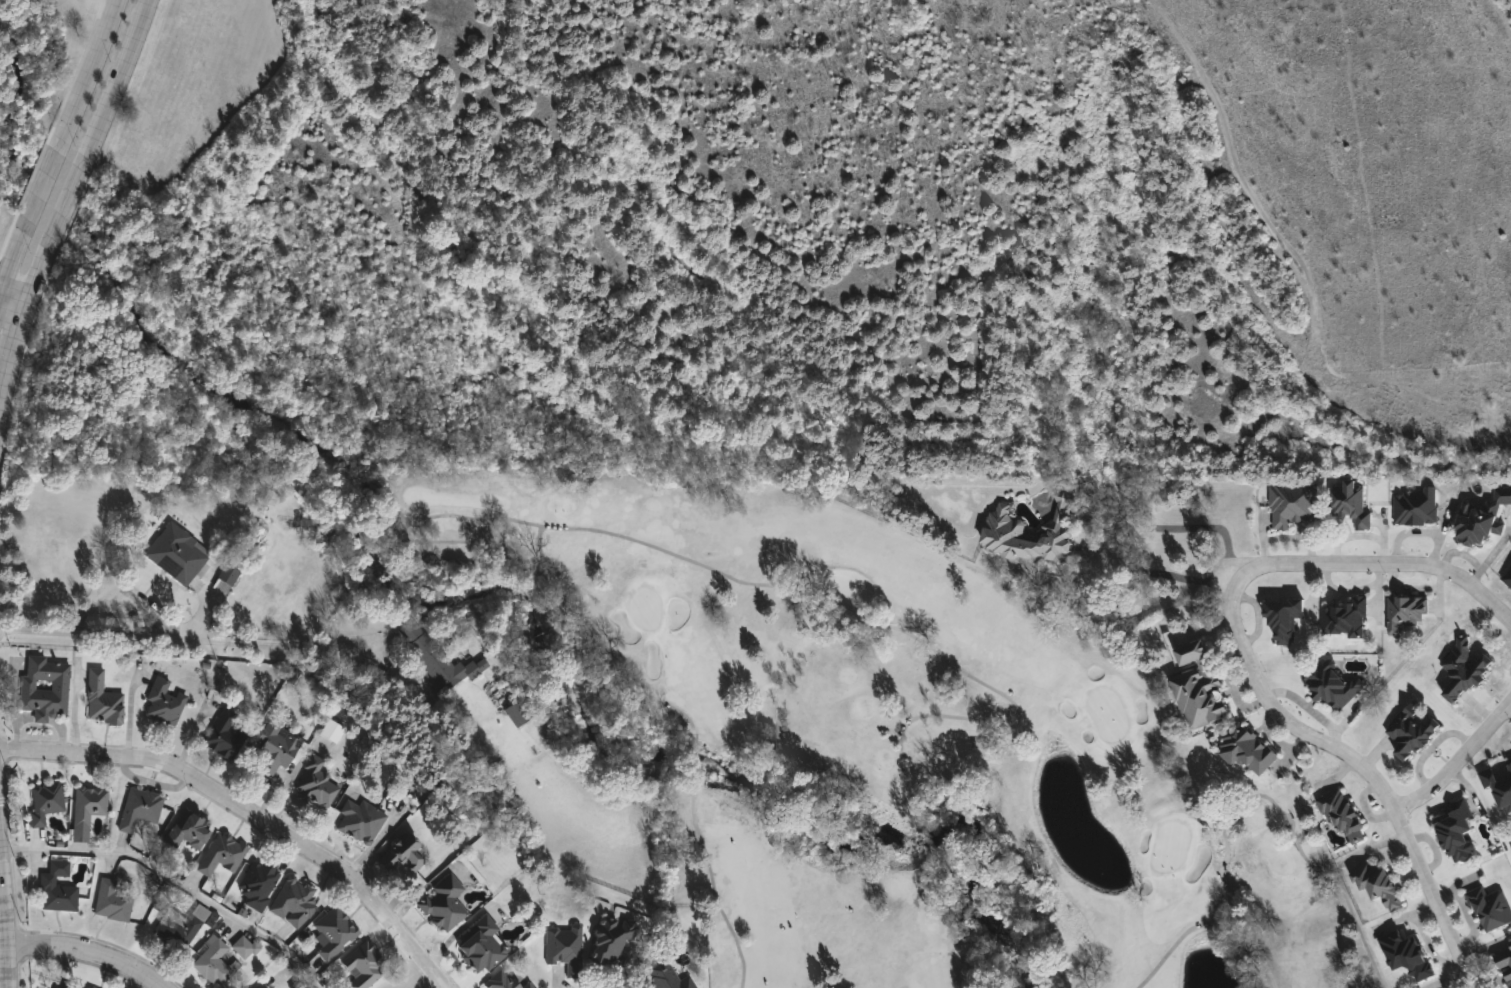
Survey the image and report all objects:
road: (97, 56)
road: (126, 63)
park: (34, 84)
road: (54, 159)
road: (81, 175)
road: (14, 252)
road: (16, 298)
road: (26, 318)
building: (1351, 501)
building: (1292, 502)
building: (1417, 506)
building: (1481, 515)
road: (1173, 526)
building: (1004, 530)
building: (175, 553)
building: (1508, 577)
building: (224, 579)
building: (1406, 613)
building: (1346, 615)
building: (1283, 617)
road: (193, 642)
building: (438, 656)
building: (1463, 669)
road: (1252, 672)
building: (1196, 685)
building: (1333, 685)
building: (43, 688)
building: (101, 699)
building: (162, 702)
building: (517, 712)
building: (1412, 731)
building: (221, 734)
park: (892, 744)
building: (273, 748)
building: (1246, 749)
park: (909, 755)
road: (1455, 760)
building: (1500, 783)
building: (316, 784)
building: (44, 801)
building: (87, 804)
building: (139, 807)
building: (1342, 813)
road: (247, 817)
building: (359, 819)
building: (187, 830)
building: (1457, 830)
building: (403, 852)
building: (220, 853)
road: (182, 873)
building: (256, 882)
building: (1375, 883)
building: (56, 888)
building: (110, 900)
building: (291, 901)
building: (443, 903)
road: (8, 904)
building: (1490, 906)
building: (179, 928)
building: (333, 932)
building: (1509, 936)
building: (609, 939)
building: (479, 943)
building: (244, 948)
building: (565, 948)
road: (84, 953)
building: (1407, 954)
building: (211, 962)
building: (1505, 964)
building: (362, 966)
building: (663, 975)
building: (504, 980)
building: (70, 986)
building: (259, 986)
building: (83, 987)

